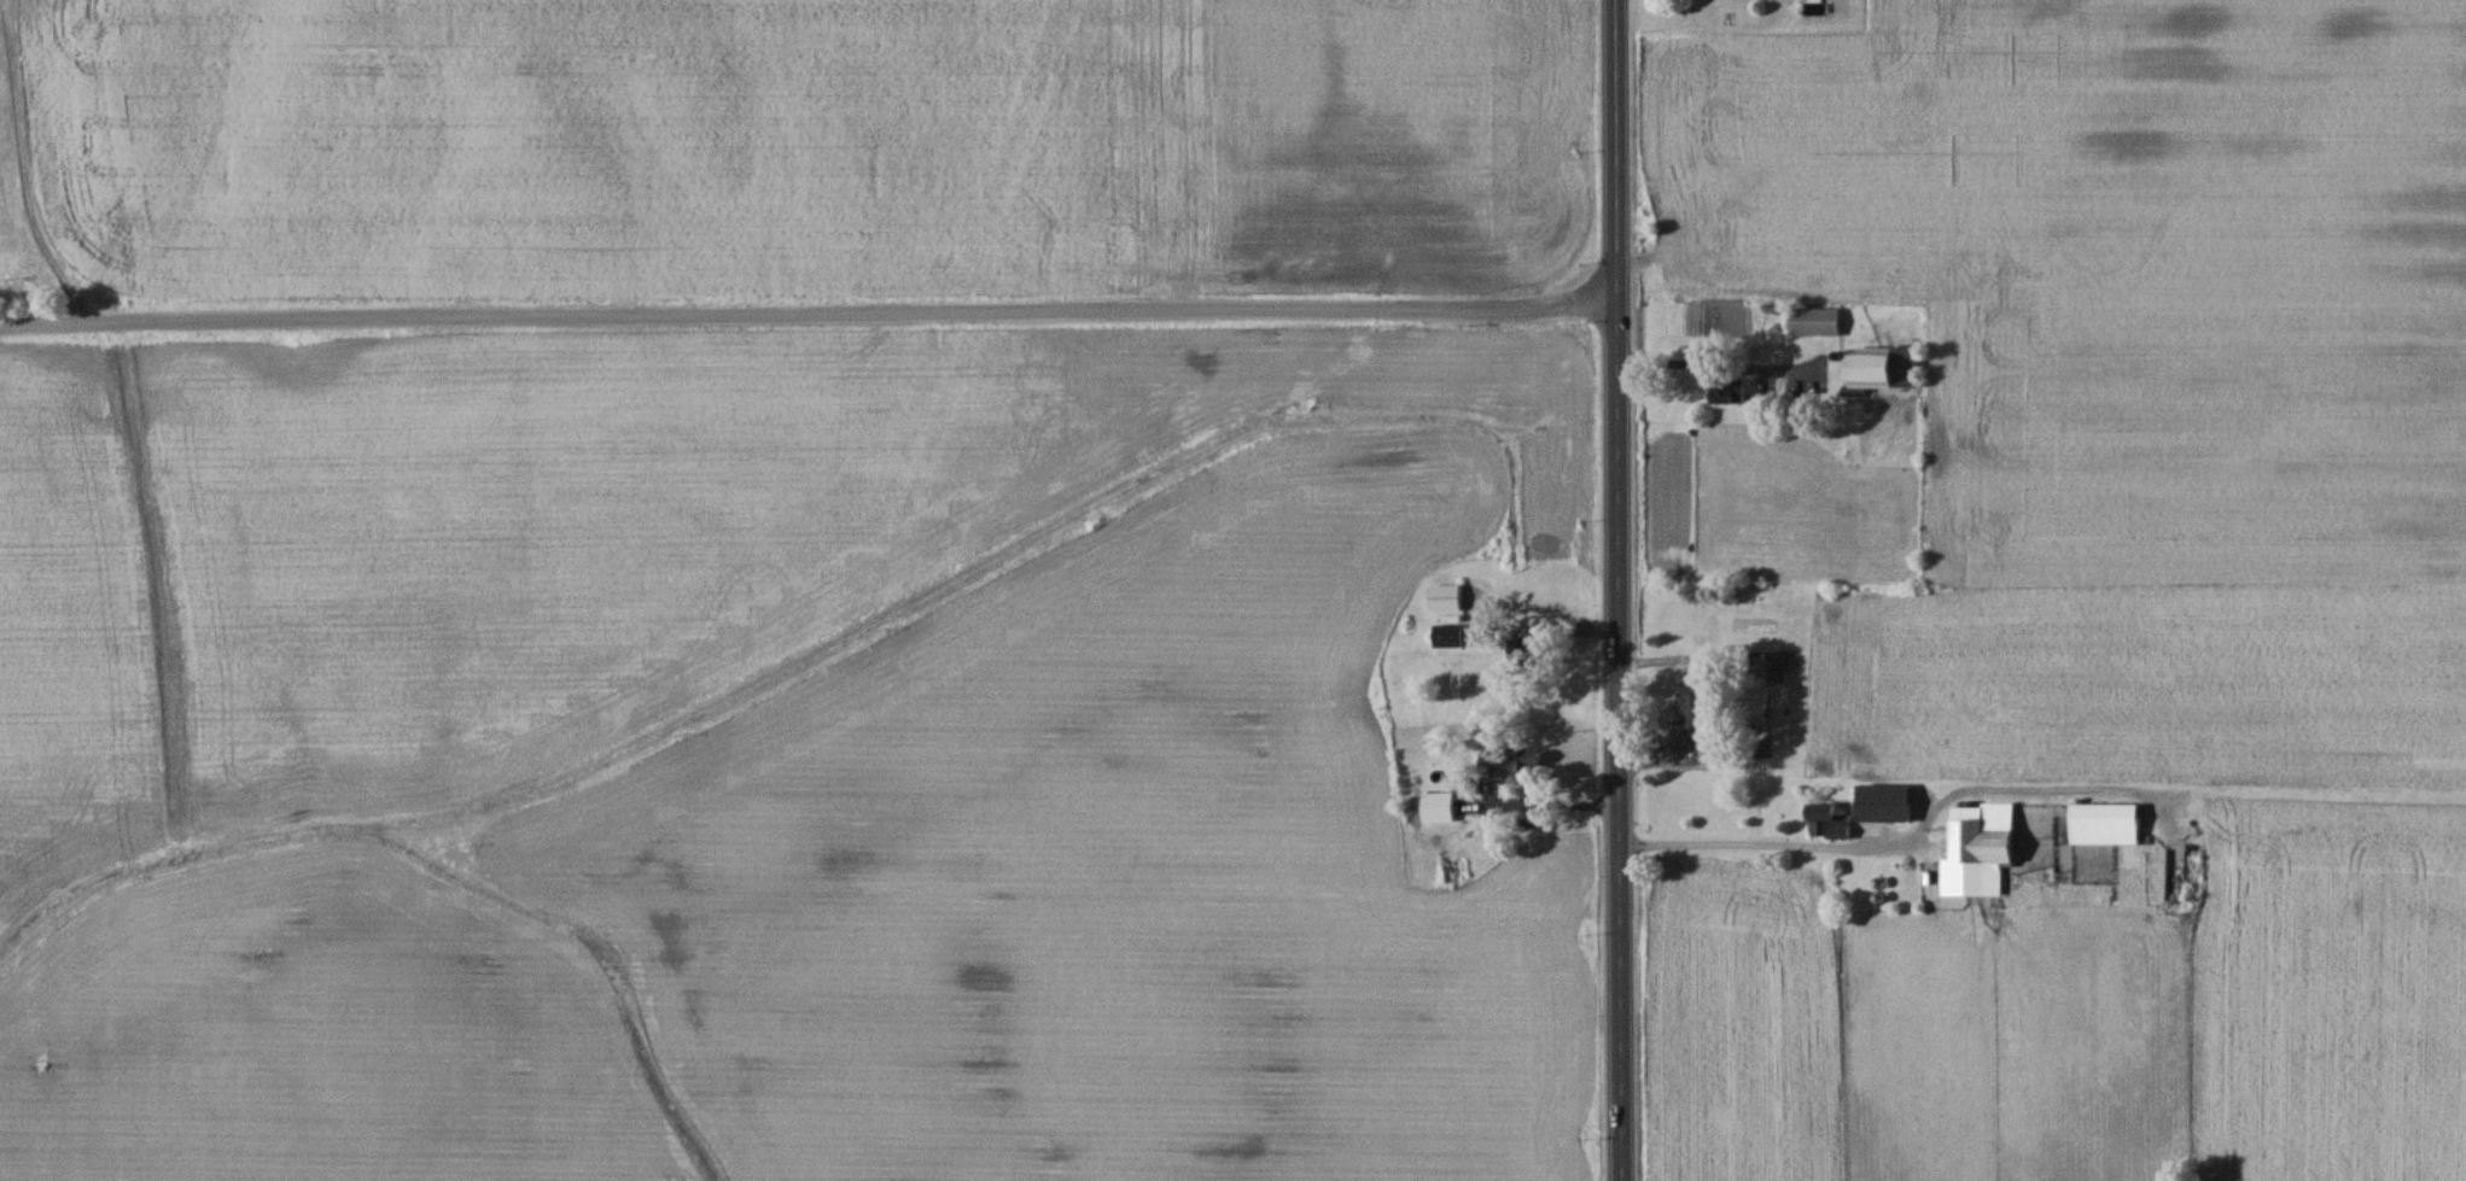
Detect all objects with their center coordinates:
road: (808, 316)
building: (1812, 321)
building: (1881, 366)
building: (1725, 392)
road: (1619, 590)
building: (1442, 597)
building: (1445, 635)
building: (1525, 650)
building: (1776, 666)
building: (1692, 706)
building: (1509, 761)
building: (1882, 802)
building: (1825, 822)
building: (2103, 823)
road: (1900, 840)
building: (1986, 848)
building: (1448, 870)

